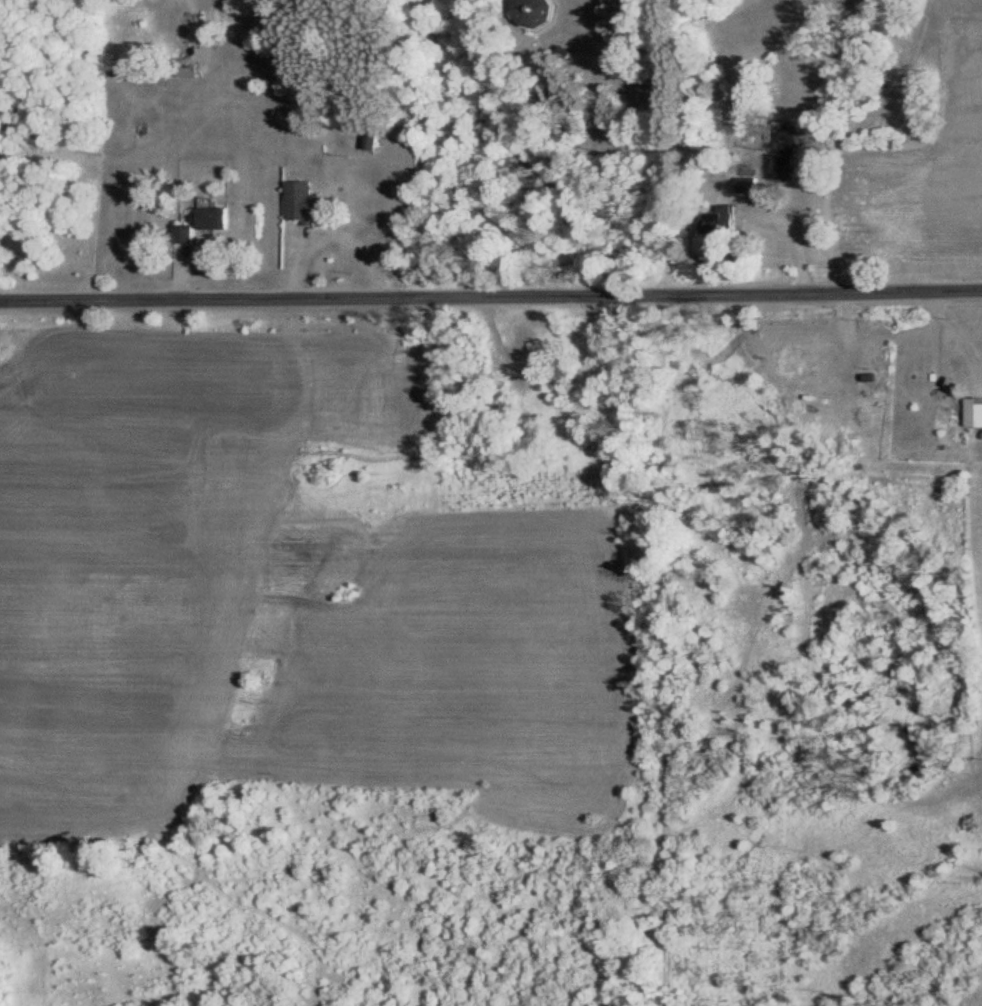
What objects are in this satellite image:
building: (536, 12)
building: (189, 68)
building: (781, 152)
building: (752, 185)
building: (303, 202)
building: (214, 218)
building: (724, 219)
building: (183, 234)
road: (491, 296)
building: (973, 413)

